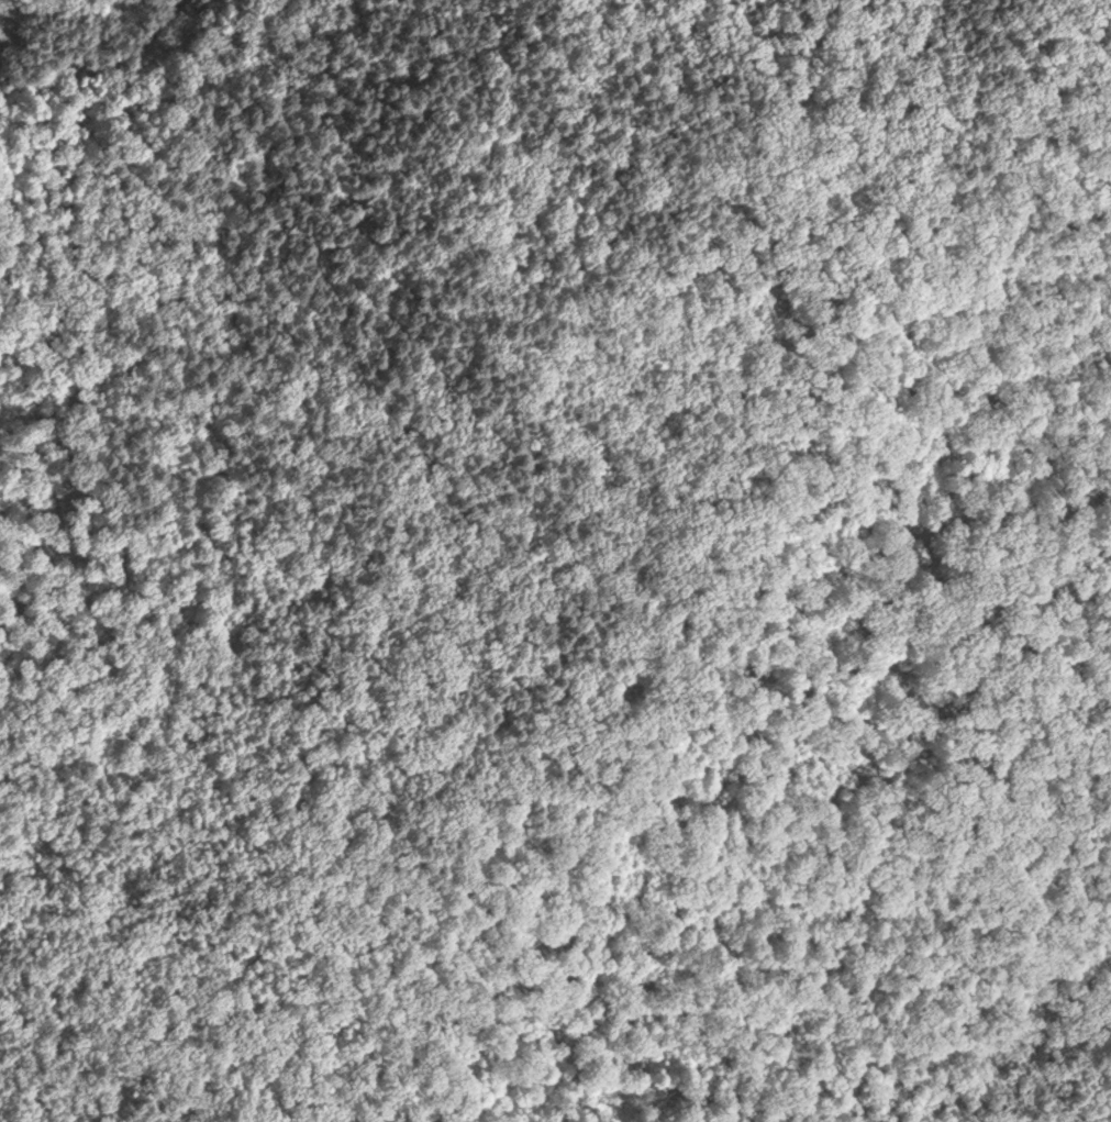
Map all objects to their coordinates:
road: (97, 53)

